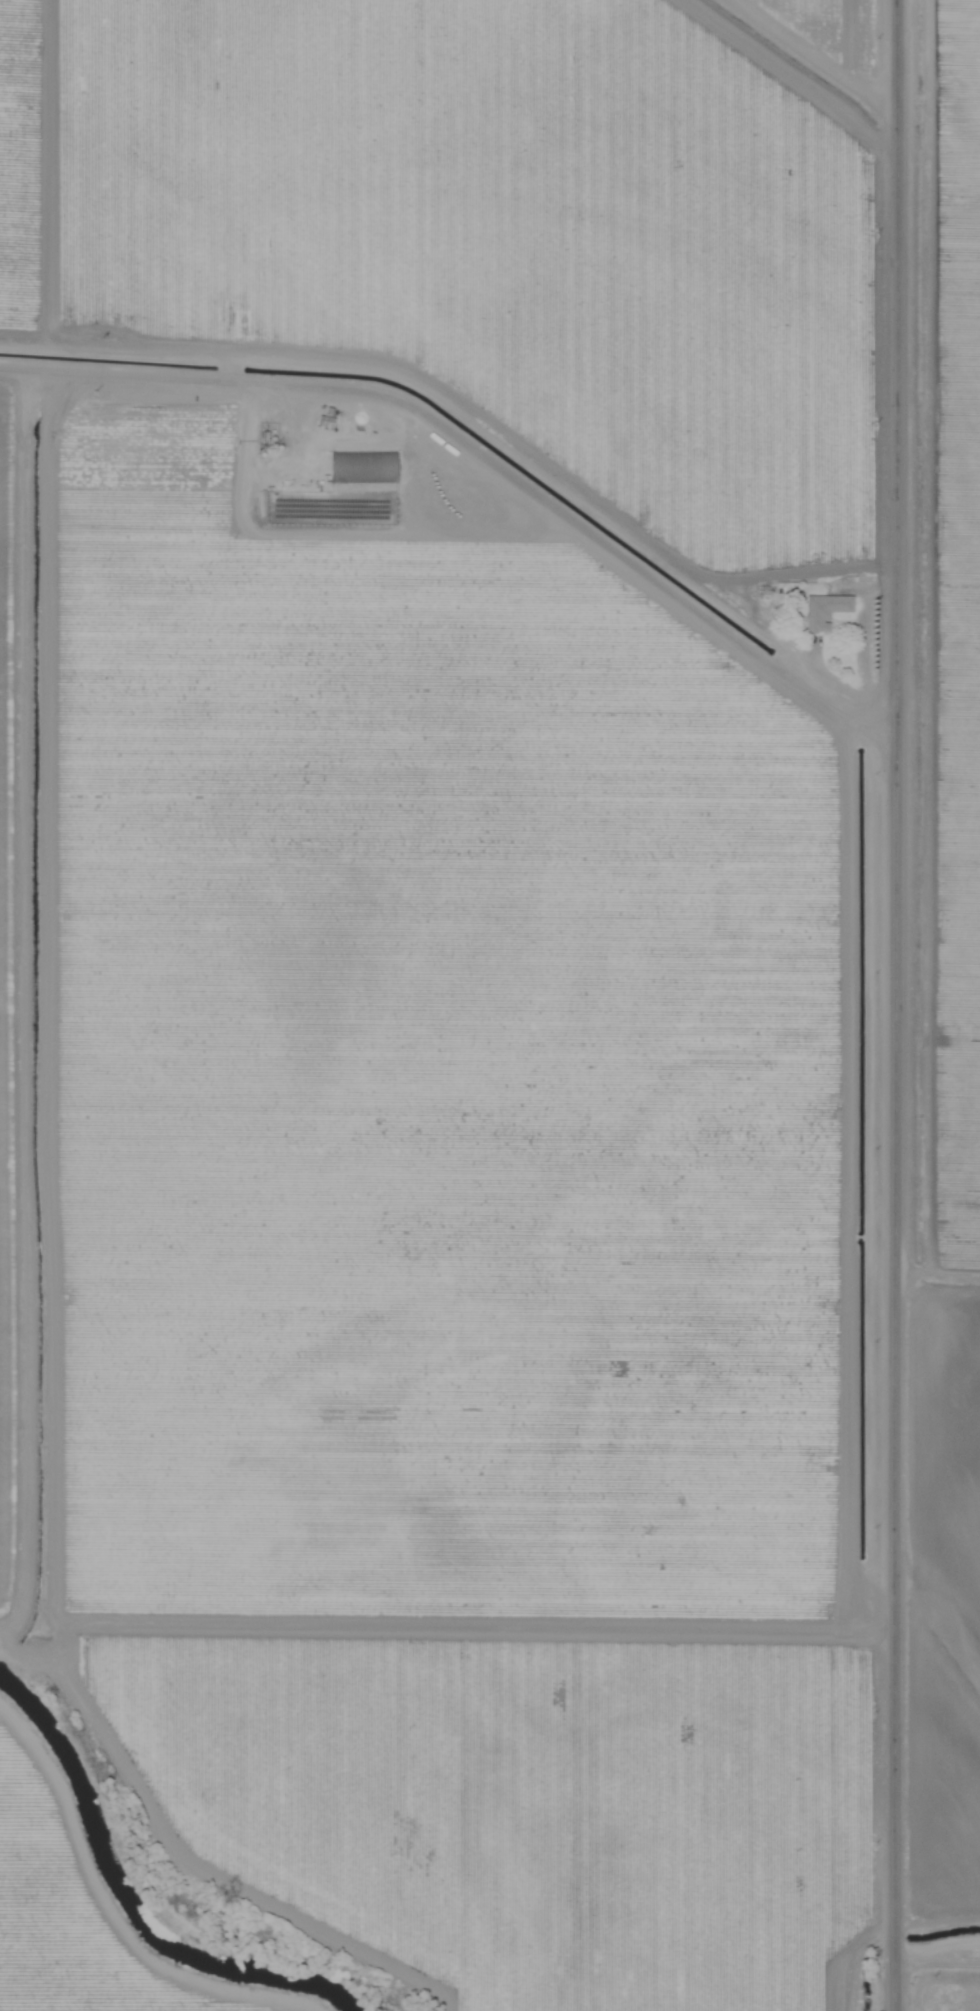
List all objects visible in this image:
building: (325, 423)
road: (485, 461)
building: (342, 466)
building: (825, 611)
crop: (490, 1005)
road: (898, 1005)
road: (469, 1626)
road: (933, 1915)
road: (932, 1949)

